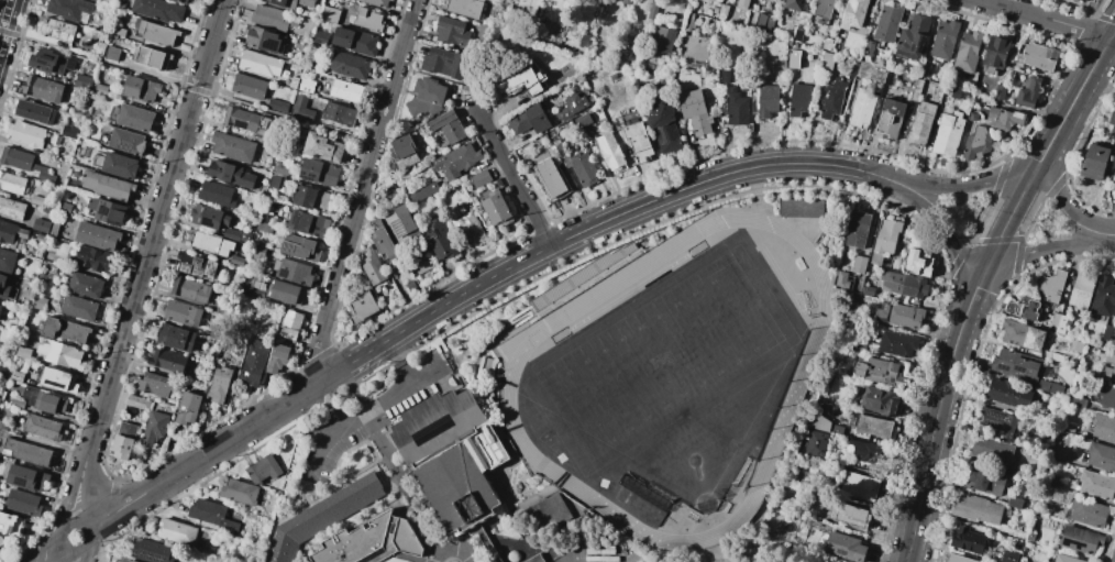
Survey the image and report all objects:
building: (391, 0)
building: (1088, 0)
building: (180, 1)
building: (768, 1)
building: (1081, 1)
building: (377, 2)
building: (289, 3)
building: (742, 4)
building: (794, 4)
building: (465, 8)
building: (69, 9)
building: (824, 9)
building: (158, 10)
building: (654, 10)
building: (715, 10)
building: (722, 11)
building: (853, 13)
building: (330, 14)
building: (272, 18)
road: (5, 19)
road: (1048, 19)
building: (367, 20)
building: (888, 23)
building: (769, 26)
building: (57, 30)
building: (119, 31)
building: (482, 31)
building: (452, 32)
building: (157, 33)
building: (798, 35)
building: (913, 37)
building: (320, 38)
building: (266, 40)
building: (662, 40)
building: (945, 40)
building: (355, 42)
building: (827, 43)
rooftop solar panel: (267, 46)
rooftop solar panel: (274, 46)
building: (97, 47)
building: (868, 48)
rooftop solar panel: (923, 48)
rooftop solar panel: (910, 49)
building: (968, 52)
building: (111, 53)
building: (995, 55)
building: (790, 57)
building: (1039, 57)
building: (153, 58)
building: (827, 60)
building: (47, 62)
building: (443, 62)
building: (69, 63)
building: (260, 64)
building: (350, 66)
building: (871, 71)
building: (924, 71)
building: (725, 76)
building: (890, 77)
building: (84, 81)
building: (294, 82)
building: (522, 82)
building: (101, 86)
building: (307, 86)
road: (188, 87)
building: (250, 87)
building: (42, 89)
building: (141, 89)
building: (916, 89)
building: (346, 91)
building: (1000, 92)
building: (1028, 92)
building: (956, 93)
building: (1007, 93)
building: (426, 98)
building: (832, 99)
road: (1073, 99)
building: (768, 100)
building: (798, 100)
building: (277, 106)
building: (571, 107)
building: (302, 108)
building: (737, 108)
building: (861, 109)
building: (695, 111)
building: (35, 112)
building: (339, 114)
building: (972, 117)
building: (135, 118)
building: (891, 119)
building: (1003, 119)
building: (243, 120)
building: (529, 120)
building: (1112, 120)
building: (583, 123)
building: (920, 124)
rooftop solar panel: (241, 126)
building: (448, 126)
building: (663, 126)
building: (70, 133)
building: (26, 134)
building: (948, 135)
building: (56, 140)
building: (128, 142)
building: (638, 142)
building: (976, 144)
building: (232, 147)
building: (324, 148)
building: (404, 152)
building: (611, 153)
building: (456, 161)
building: (1093, 162)
building: (24, 163)
building: (120, 166)
building: (583, 170)
building: (319, 173)
building: (231, 174)
road: (1020, 175)
building: (481, 178)
road: (515, 179)
building: (551, 179)
road: (887, 179)
building: (277, 183)
building: (12, 184)
building: (107, 186)
road: (361, 188)
building: (389, 192)
building: (423, 194)
building: (217, 195)
building: (313, 199)
building: (37, 201)
building: (67, 207)
building: (12, 208)
building: (801, 208)
building: (497, 210)
building: (107, 211)
rooftop solar panel: (103, 213)
building: (210, 217)
road: (1006, 221)
rooftop solar panel: (292, 222)
building: (308, 224)
building: (400, 224)
building: (37, 228)
building: (55, 228)
building: (265, 228)
building: (467, 228)
building: (857, 230)
rooftop solar panel: (396, 231)
road: (581, 231)
building: (8, 232)
building: (24, 233)
building: (231, 233)
road: (1112, 234)
road: (152, 235)
building: (97, 236)
building: (245, 238)
building: (41, 239)
building: (440, 240)
building: (884, 241)
building: (384, 243)
building: (211, 244)
building: (299, 247)
building: (256, 253)
building: (917, 257)
building: (95, 258)
building: (7, 261)
building: (238, 261)
building: (893, 264)
building: (196, 265)
building: (276, 265)
building: (858, 265)
building: (372, 266)
road: (992, 266)
building: (295, 273)
building: (42, 278)
building: (840, 279)
building: (902, 284)
building: (85, 285)
building: (3, 287)
building: (271, 287)
building: (1051, 287)
building: (190, 289)
building: (1081, 289)
building: (285, 291)
building: (1102, 296)
building: (0, 301)
building: (38, 302)
building: (360, 306)
building: (0, 307)
building: (78, 308)
building: (224, 308)
building: (1025, 308)
building: (183, 313)
building: (898, 315)
building: (1058, 322)
building: (290, 324)
building: (65, 330)
building: (214, 332)
building: (1020, 334)
building: (1104, 335)
building: (175, 338)
building: (895, 343)
building: (854, 346)
building: (22, 353)
building: (62, 354)
building: (205, 357)
building: (277, 359)
building: (166, 360)
road: (399, 361)
building: (1111, 361)
building: (254, 363)
park: (662, 363)
building: (1014, 364)
building: (487, 365)
rooftop solar panel: (998, 371)
building: (2, 372)
building: (879, 372)
rooftop solar panel: (1019, 372)
building: (1102, 372)
building: (15, 376)
track: (511, 376)
building: (57, 379)
building: (219, 384)
building: (154, 385)
building: (1049, 386)
building: (1008, 394)
building: (1106, 397)
building: (877, 400)
building: (44, 401)
building: (18, 403)
building: (137, 403)
building: (188, 408)
road: (935, 414)
road: (362, 415)
rooftop solar panel: (1000, 415)
building: (997, 422)
rooftop solar panel: (1008, 422)
building: (823, 423)
building: (3, 426)
building: (872, 426)
rooftop solar panel: (993, 426)
building: (43, 427)
rooftop solar panel: (433, 427)
building: (1103, 427)
building: (154, 429)
rooftop solar panel: (1006, 431)
building: (1, 437)
rooftop solar panel: (1011, 438)
building: (124, 440)
building: (816, 443)
building: (990, 450)
building: (27, 452)
building: (866, 452)
road: (206, 453)
building: (1100, 456)
building: (452, 458)
building: (263, 470)
building: (25, 477)
road: (400, 477)
rooftop solar panel: (20, 480)
building: (982, 480)
building: (1095, 485)
building: (858, 486)
building: (240, 492)
road: (69, 499)
road: (85, 499)
building: (1014, 502)
building: (23, 503)
building: (542, 509)
building: (975, 509)
building: (207, 511)
building: (1086, 513)
building: (850, 515)
building: (323, 516)
road: (74, 524)
building: (10, 525)
building: (229, 527)
building: (177, 532)
road: (90, 536)
road: (62, 539)
building: (967, 539)
building: (1079, 539)
building: (1, 541)
building: (371, 542)
rooftop solar panel: (1073, 543)
building: (843, 547)
rooftop solar panel: (1077, 550)
building: (152, 551)
road: (49, 552)
road: (76, 552)
road: (86, 553)
road: (63, 554)
building: (1008, 555)
building: (534, 559)
building: (956, 559)
building: (1063, 559)
building: (123, 560)

